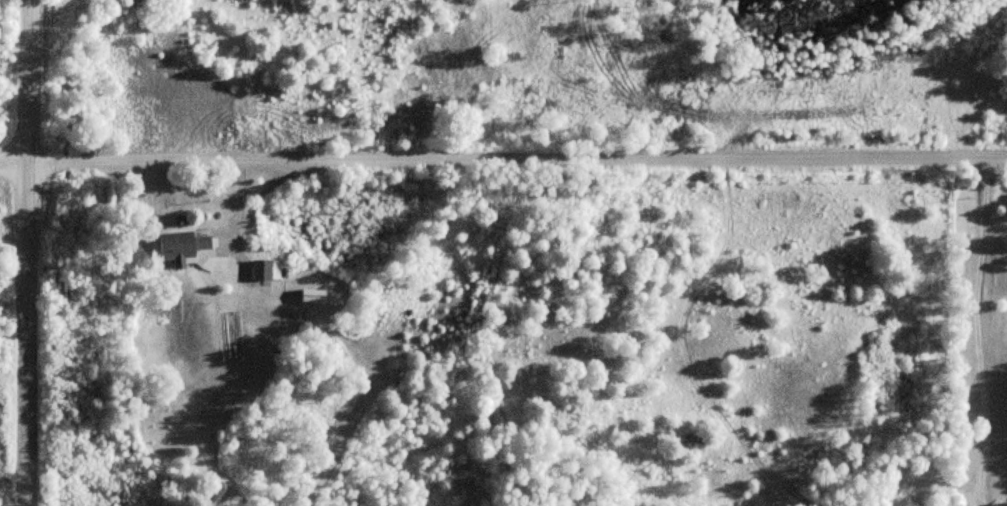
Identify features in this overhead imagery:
road: (23, 81)
road: (503, 160)
building: (180, 247)
building: (262, 269)
building: (310, 289)
road: (25, 334)
building: (1000, 504)

